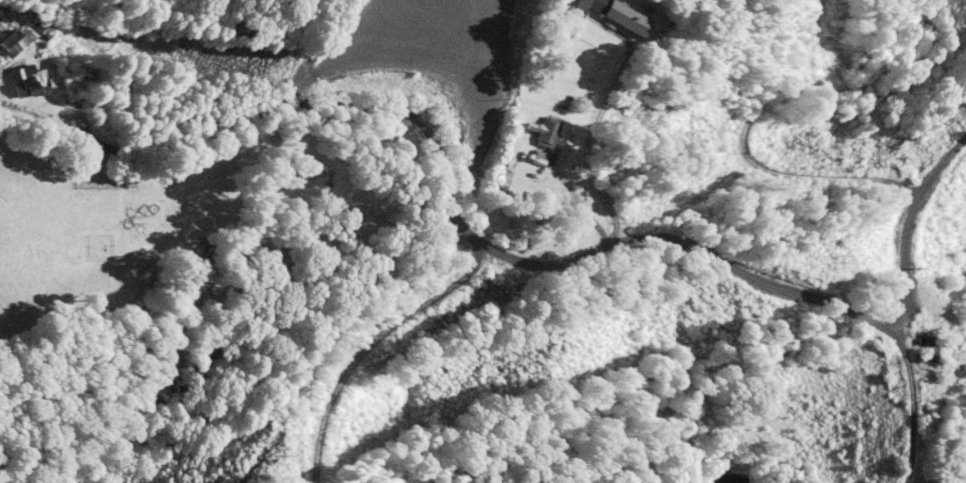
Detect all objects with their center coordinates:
building: (574, 6)
building: (620, 20)
building: (43, 25)
building: (13, 42)
building: (28, 80)
building: (543, 131)
road: (749, 155)
building: (537, 158)
building: (499, 183)
road: (515, 259)
road: (369, 344)
road: (911, 402)

